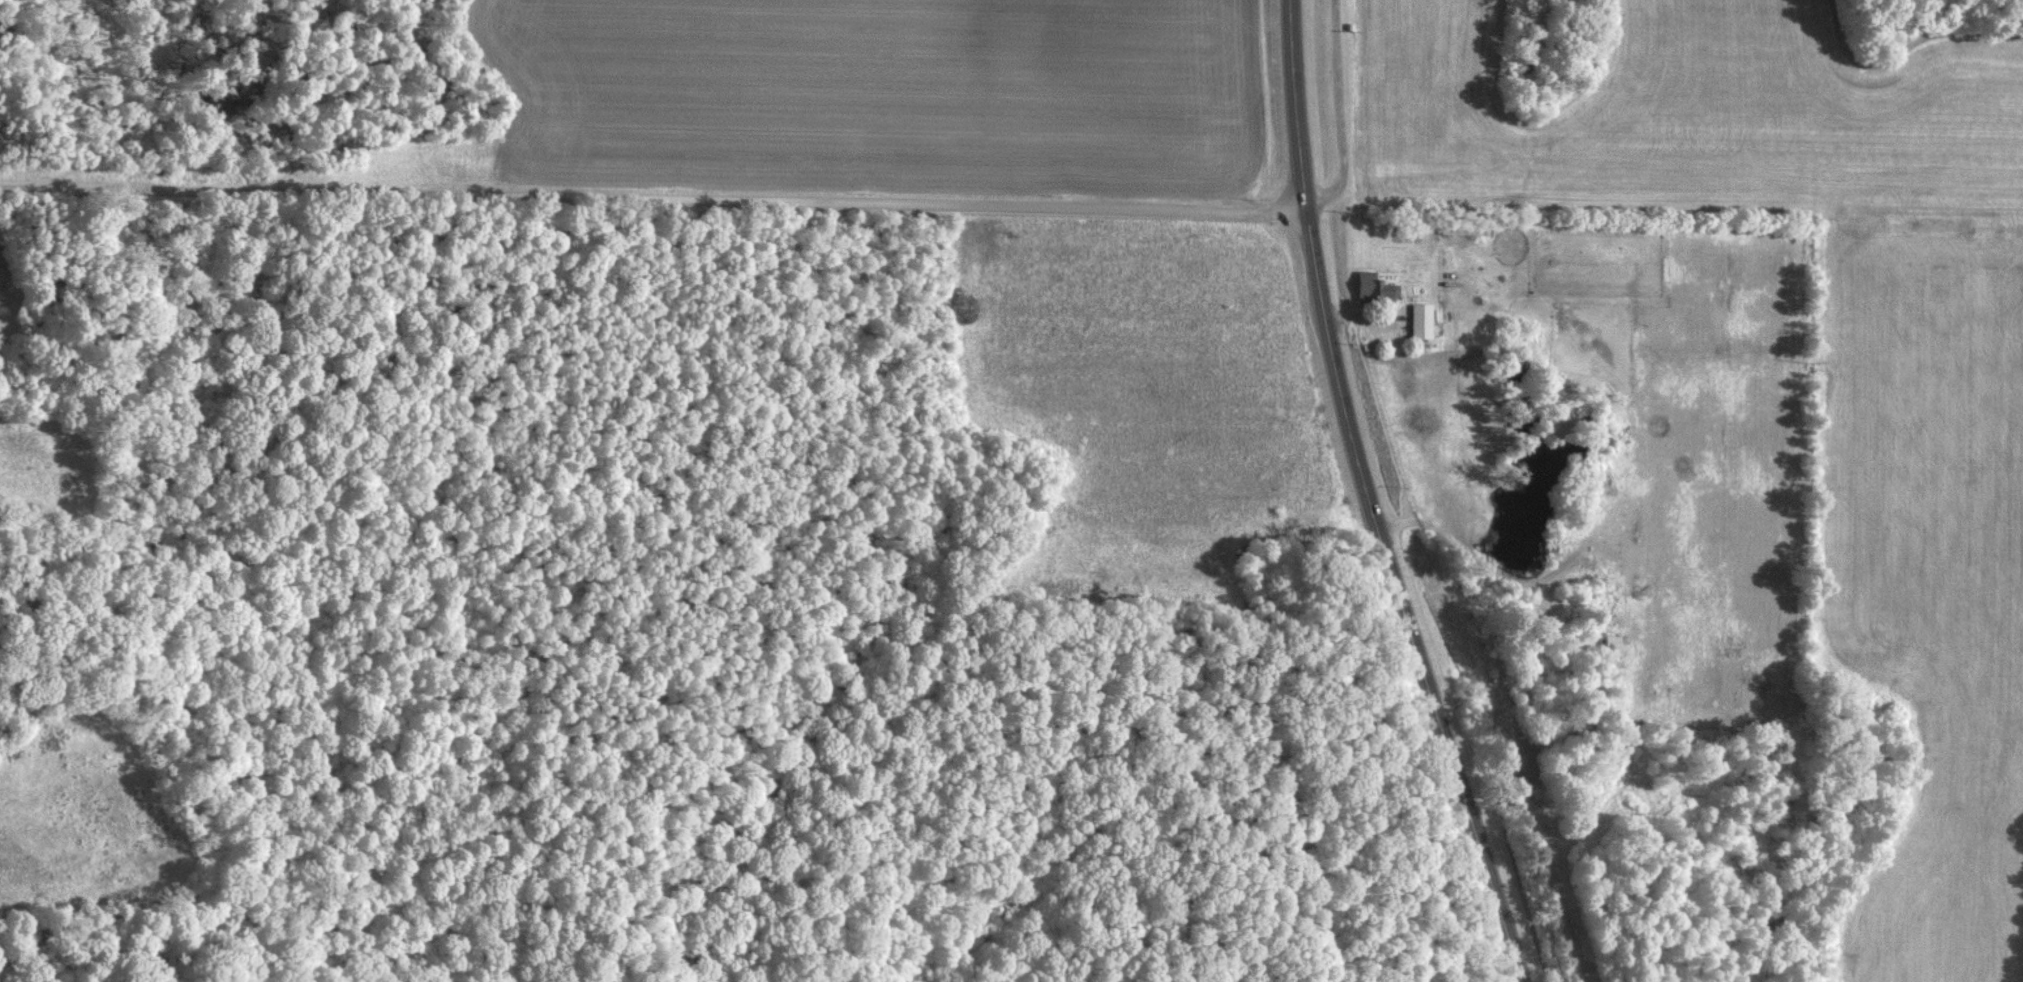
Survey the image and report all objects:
road: (1907, 46)
road: (1342, 113)
road: (1538, 121)
road: (653, 194)
building: (1374, 289)
building: (1421, 320)
road: (1372, 499)
building: (1612, 641)

